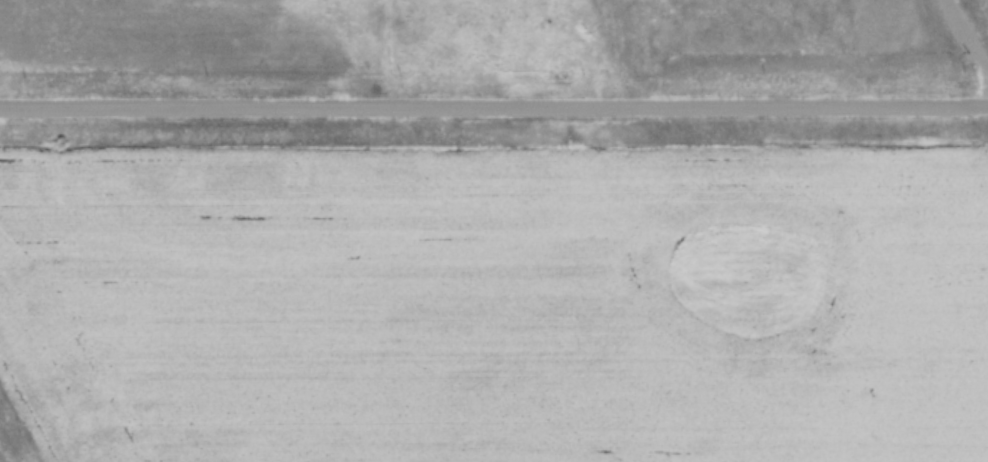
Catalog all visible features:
road: (494, 106)

